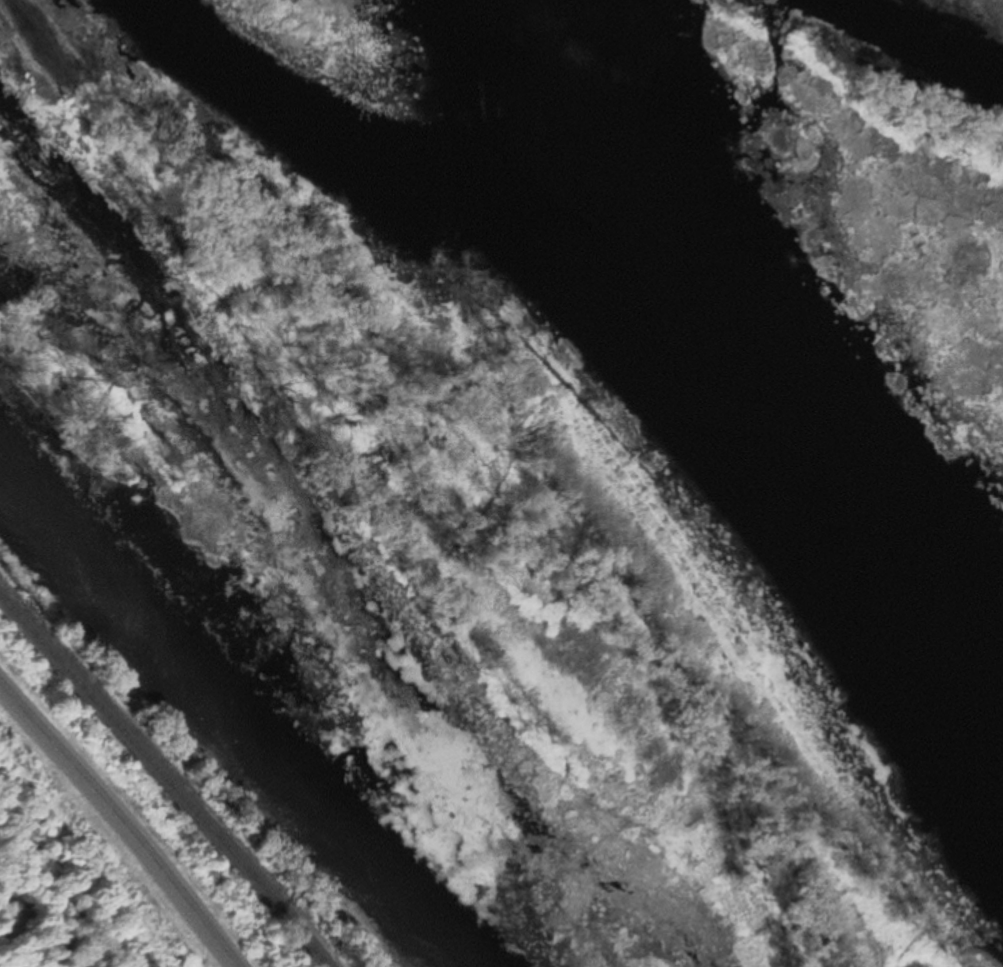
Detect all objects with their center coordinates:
railway: (163, 781)
road: (118, 829)

